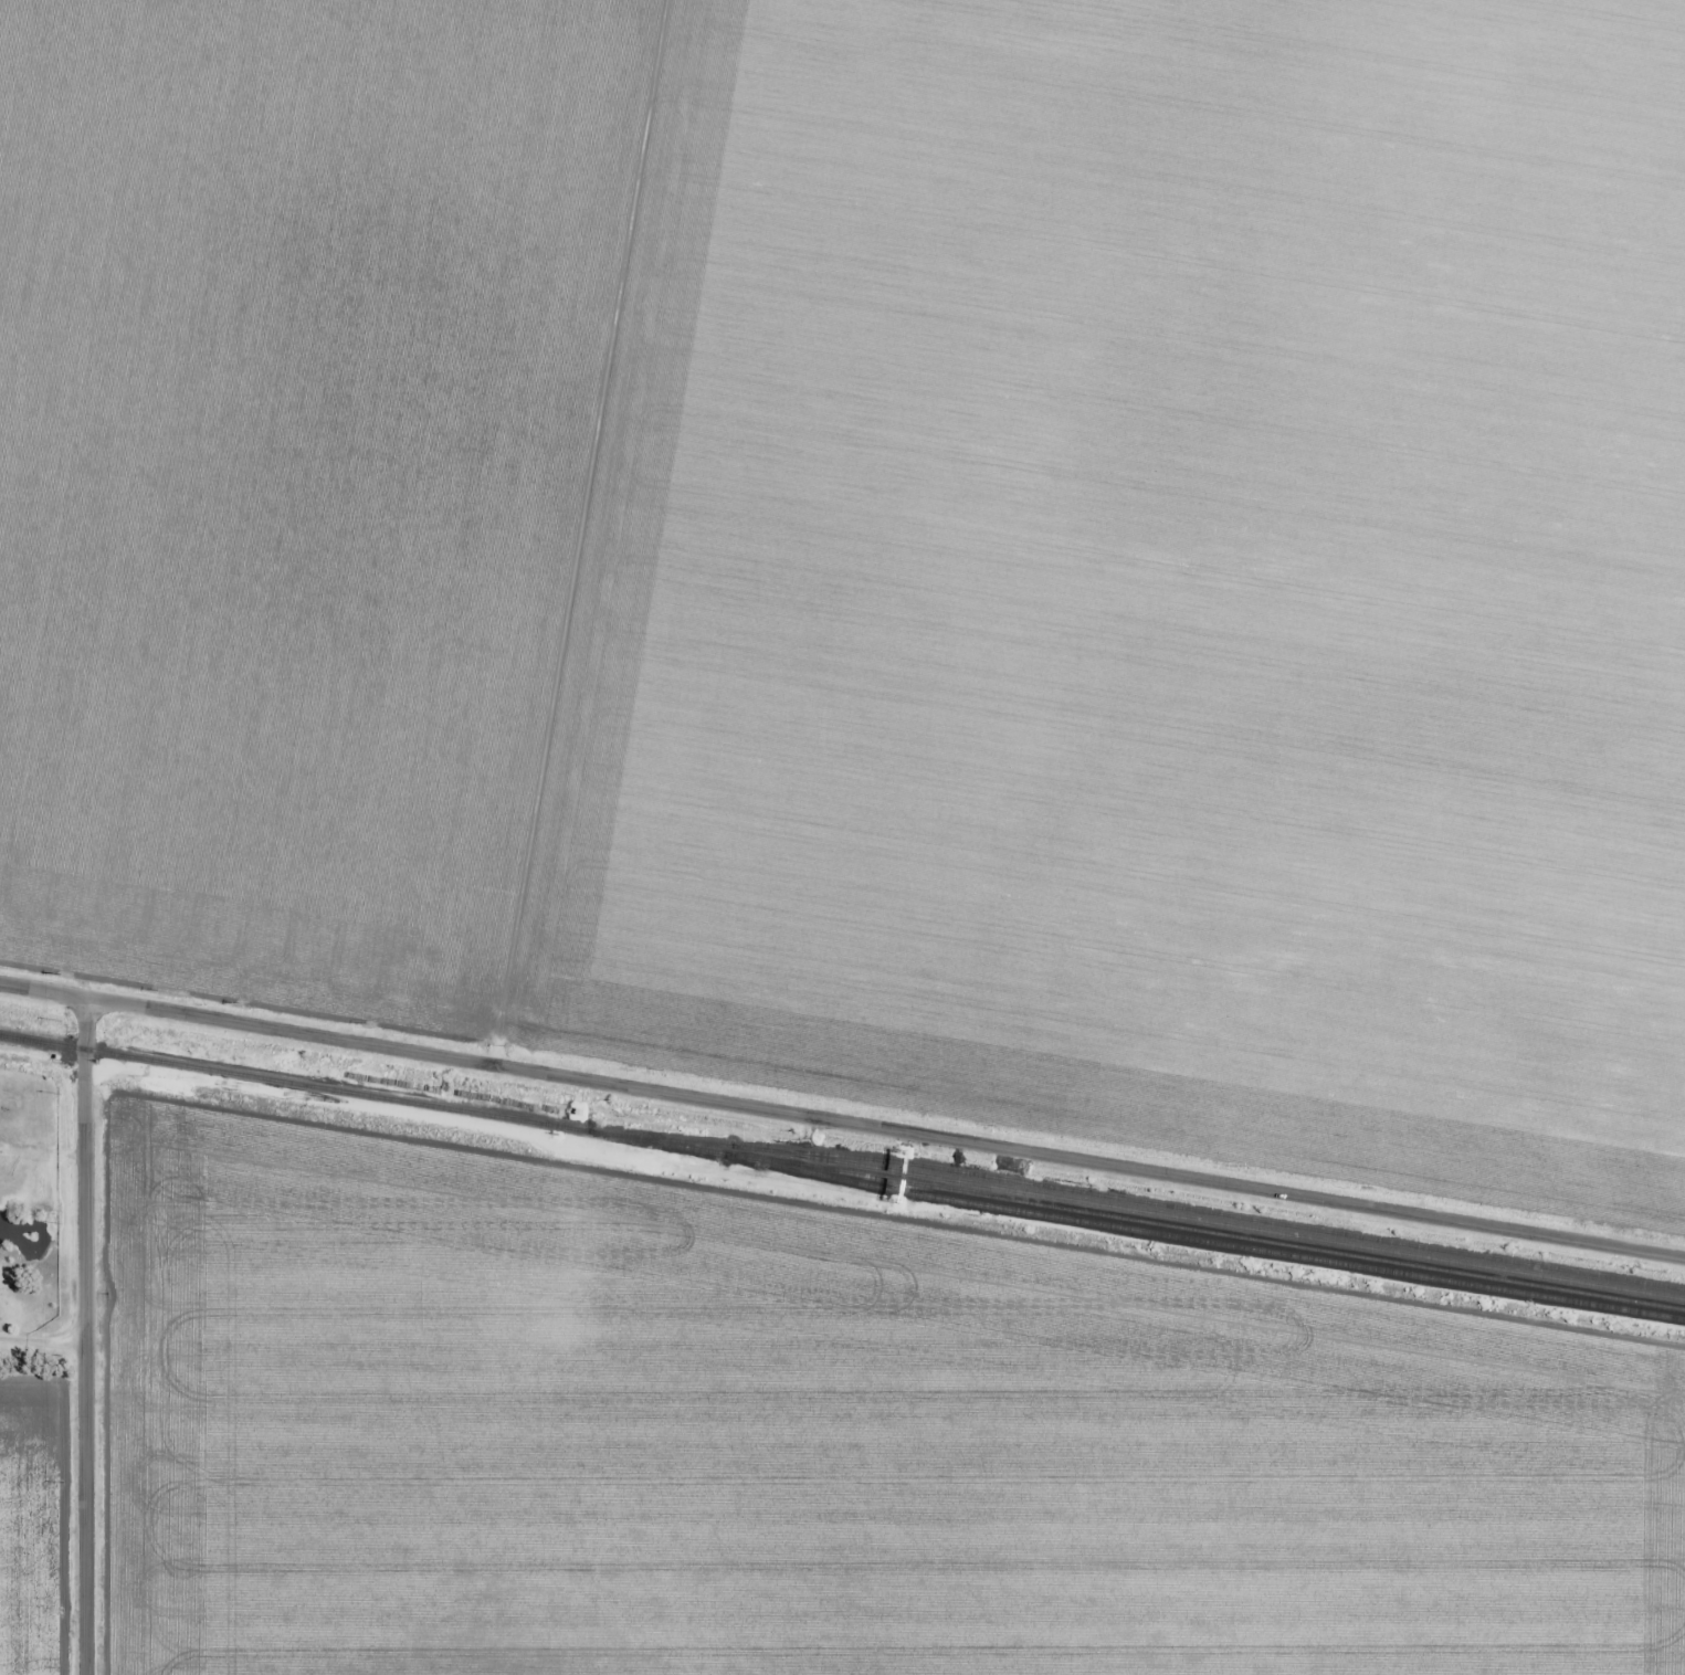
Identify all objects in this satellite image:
crop: (877, 548)
road: (842, 1121)
railway: (842, 1171)
railway: (1307, 1234)
road: (87, 1337)

